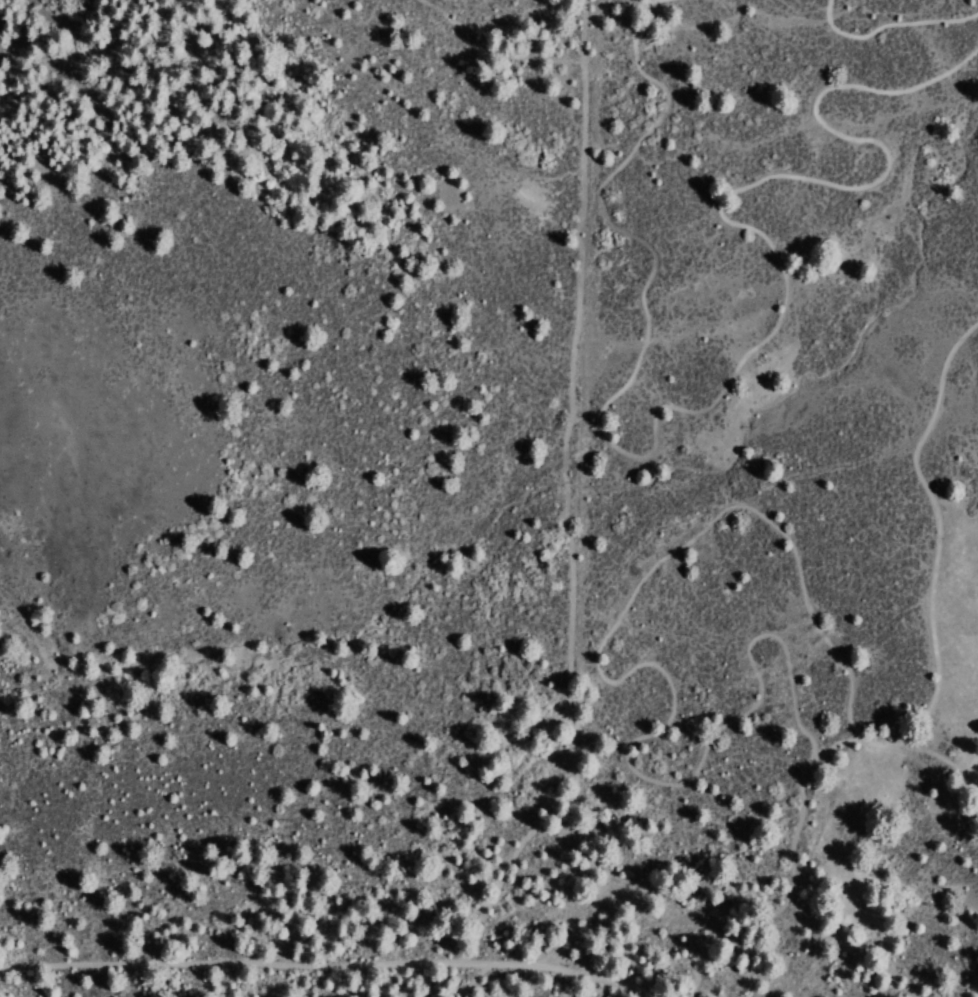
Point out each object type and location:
crop: (907, 668)
road: (330, 963)

